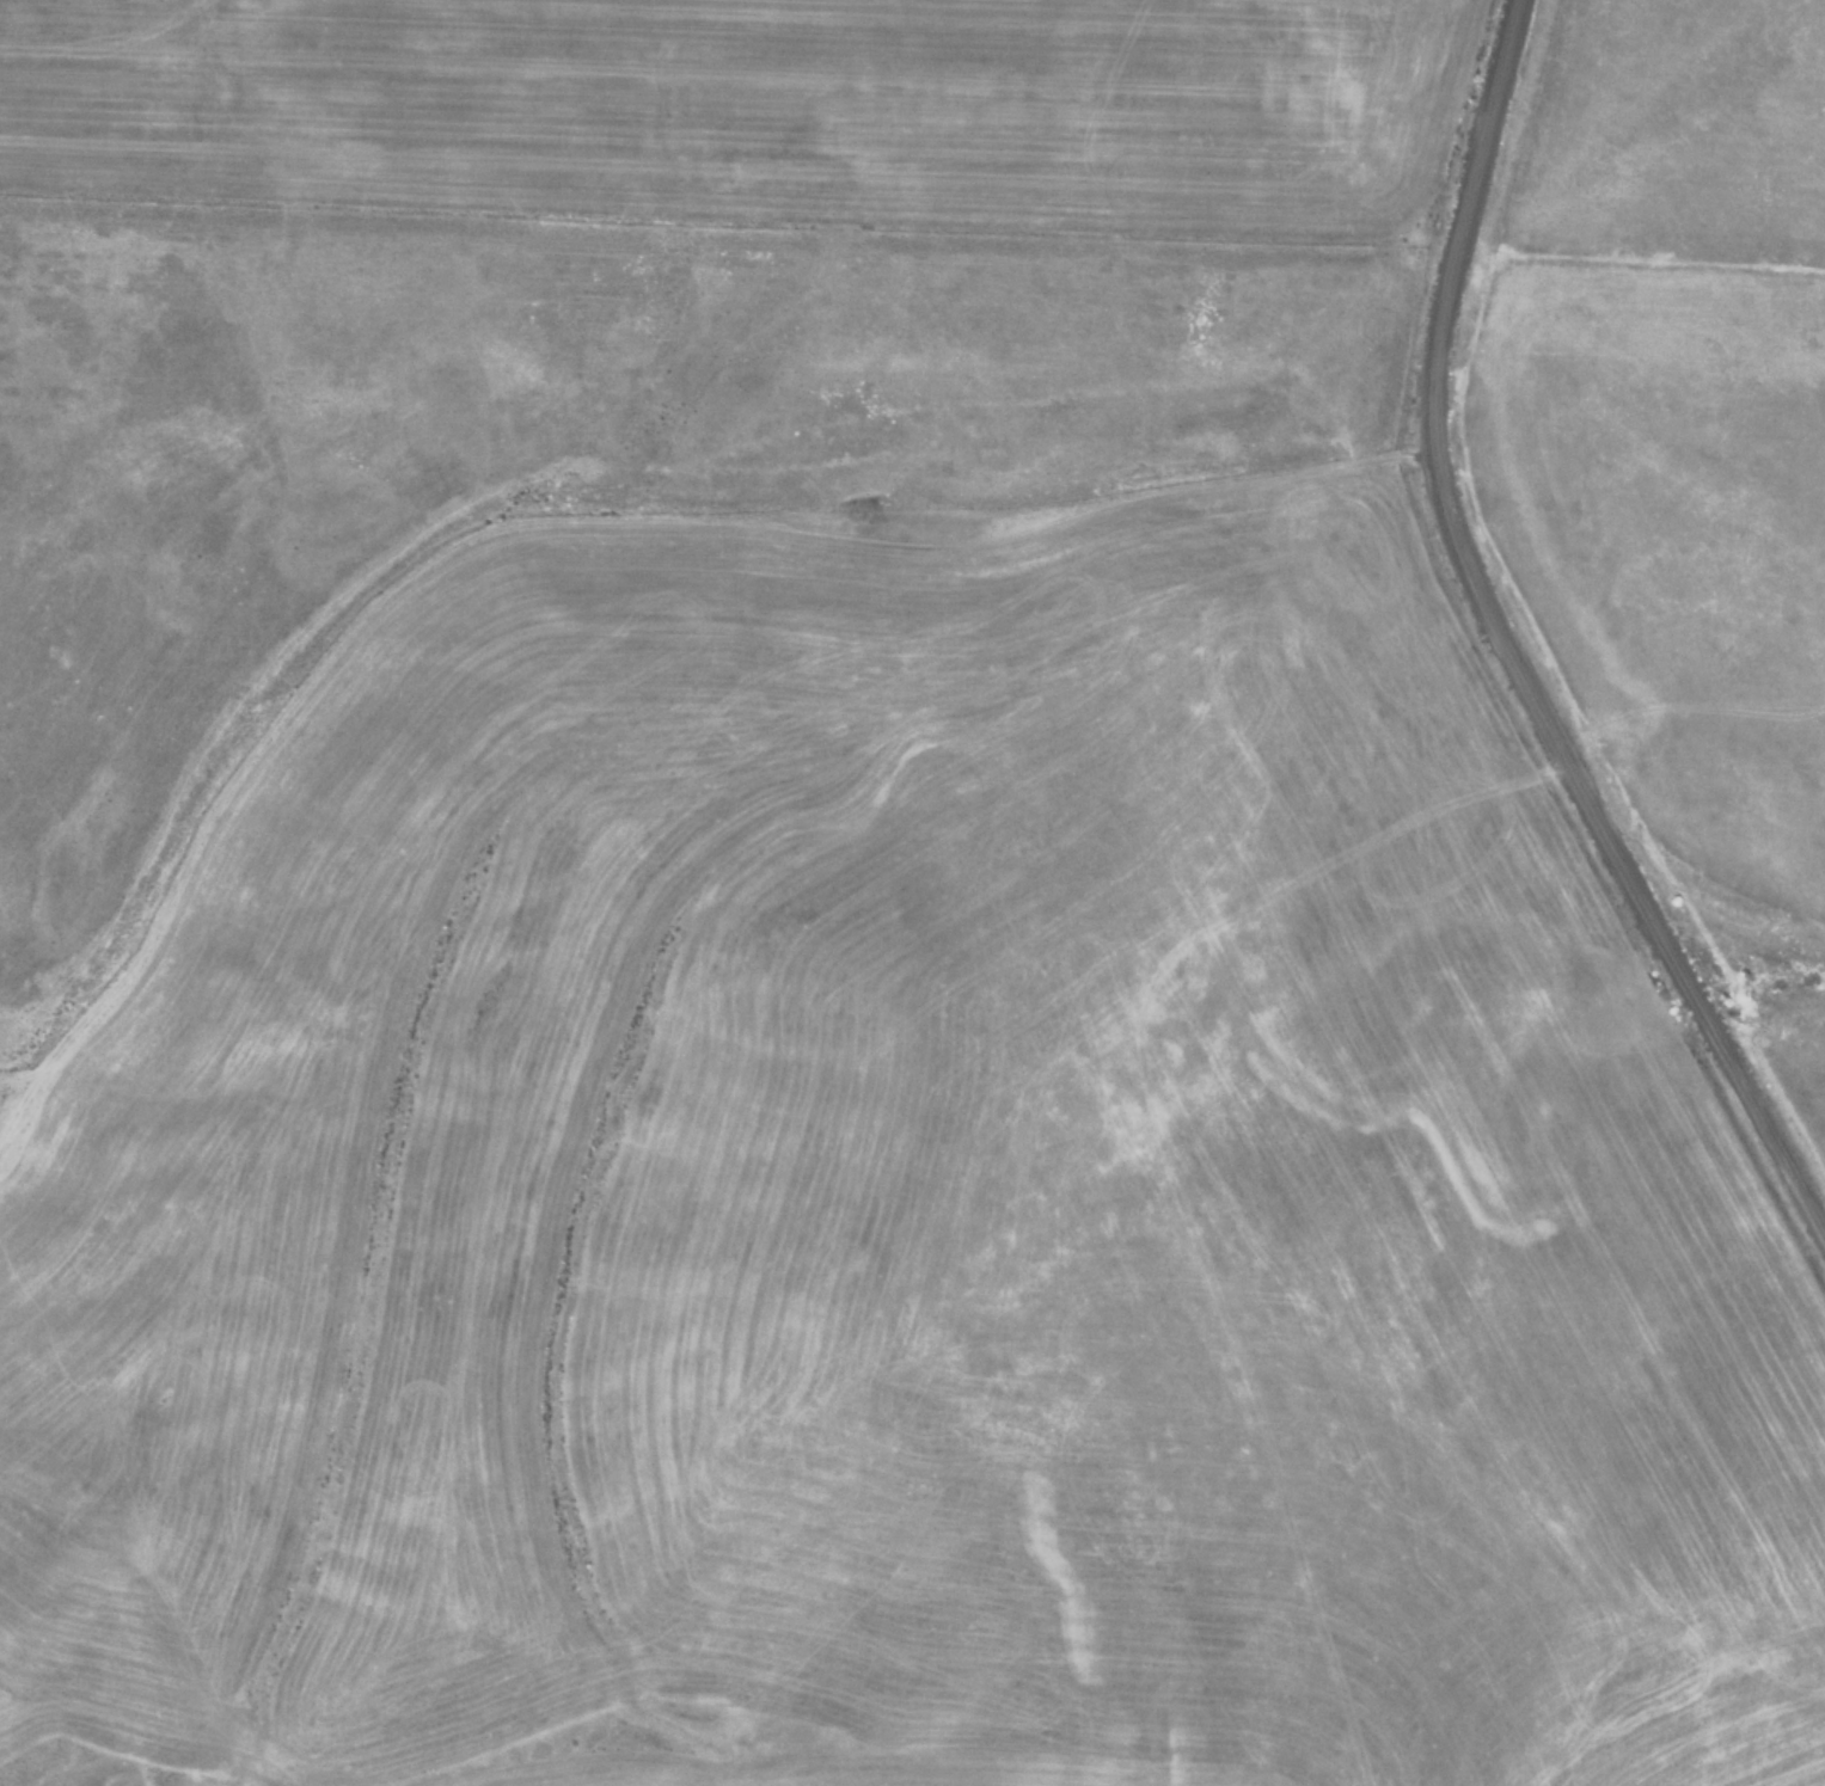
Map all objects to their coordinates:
road: (1504, 643)

